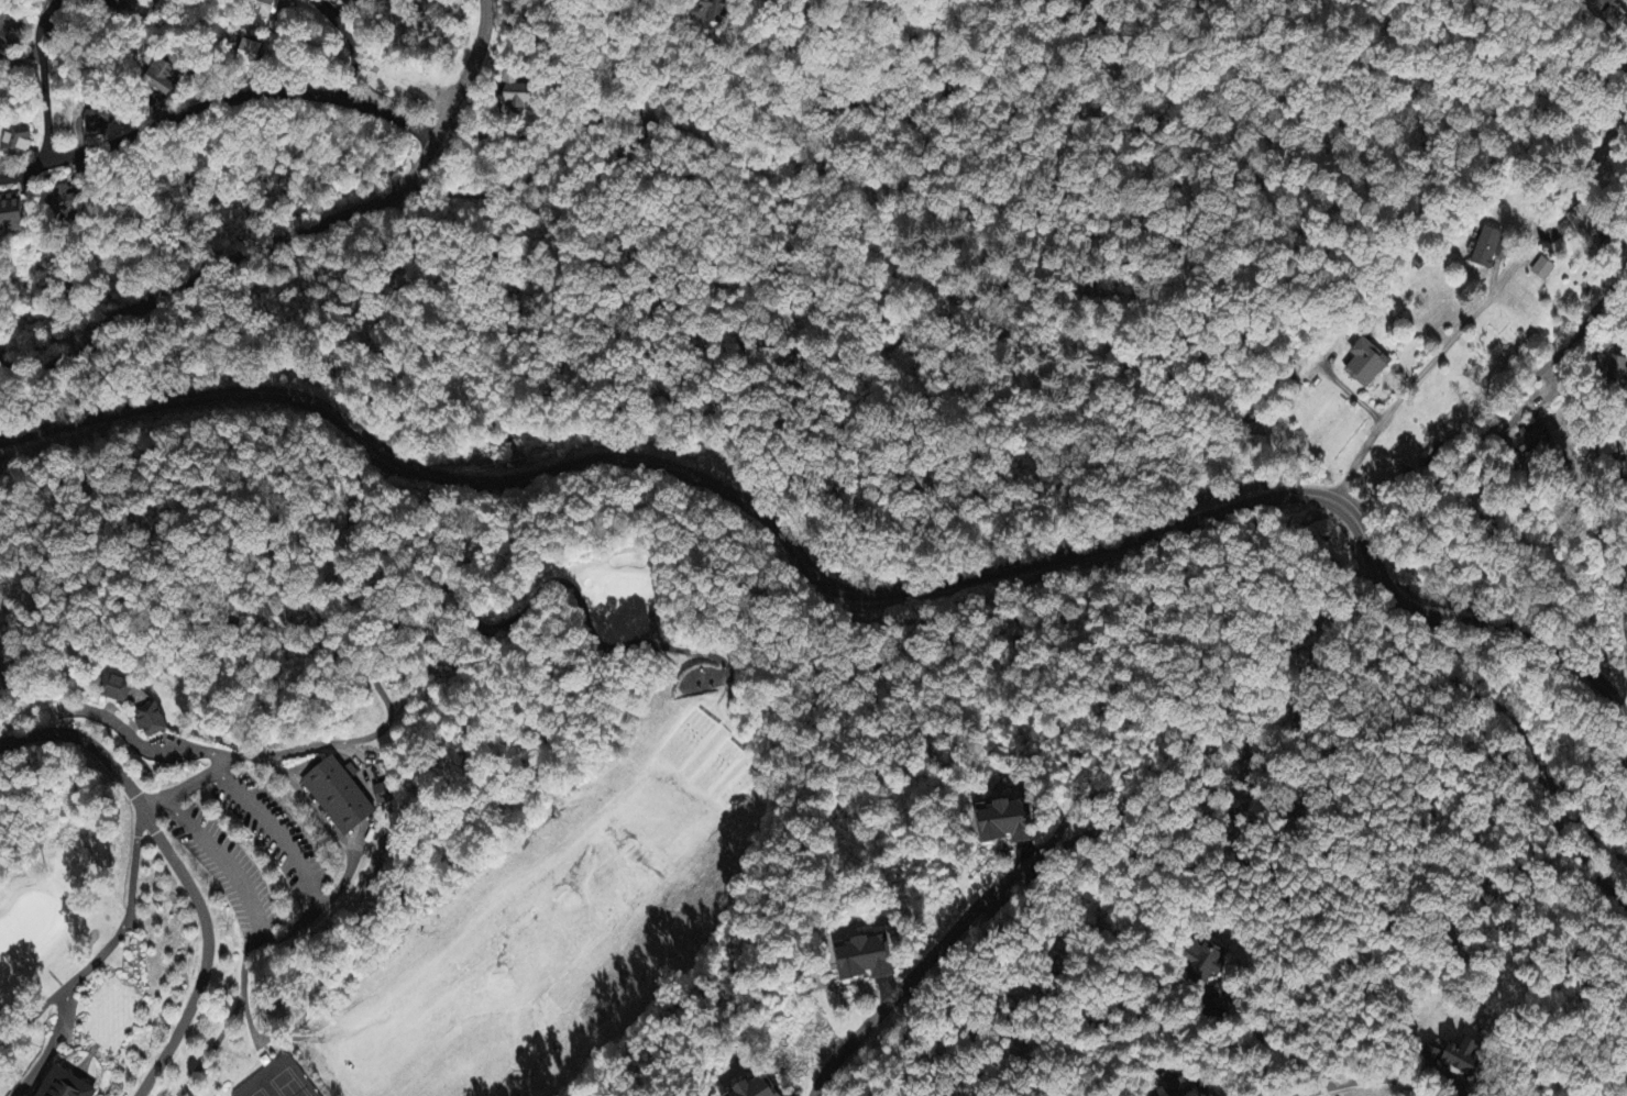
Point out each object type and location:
building: (776, 0)
building: (114, 3)
building: (1603, 4)
building: (265, 12)
building: (712, 12)
building: (7, 30)
road: (348, 42)
building: (250, 55)
building: (165, 75)
road: (46, 79)
building: (517, 93)
road: (216, 102)
building: (100, 123)
building: (17, 143)
building: (69, 203)
building: (11, 215)
building: (1587, 225)
road: (301, 236)
building: (1488, 248)
building: (1543, 270)
road: (1495, 309)
building: (1367, 364)
building: (1618, 370)
road: (1509, 413)
building: (1532, 441)
road: (832, 590)
building: (117, 690)
building: (151, 721)
building: (384, 795)
building: (339, 797)
building: (1007, 823)
road: (278, 830)
park: (461, 846)
road: (224, 862)
road: (176, 871)
road: (344, 877)
park: (41, 926)
road: (944, 943)
road: (97, 961)
building: (866, 961)
building: (1205, 964)
building: (1433, 1056)
building: (1465, 1061)
road: (1361, 1081)
building: (1173, 1083)
building: (66, 1086)
building: (759, 1088)

